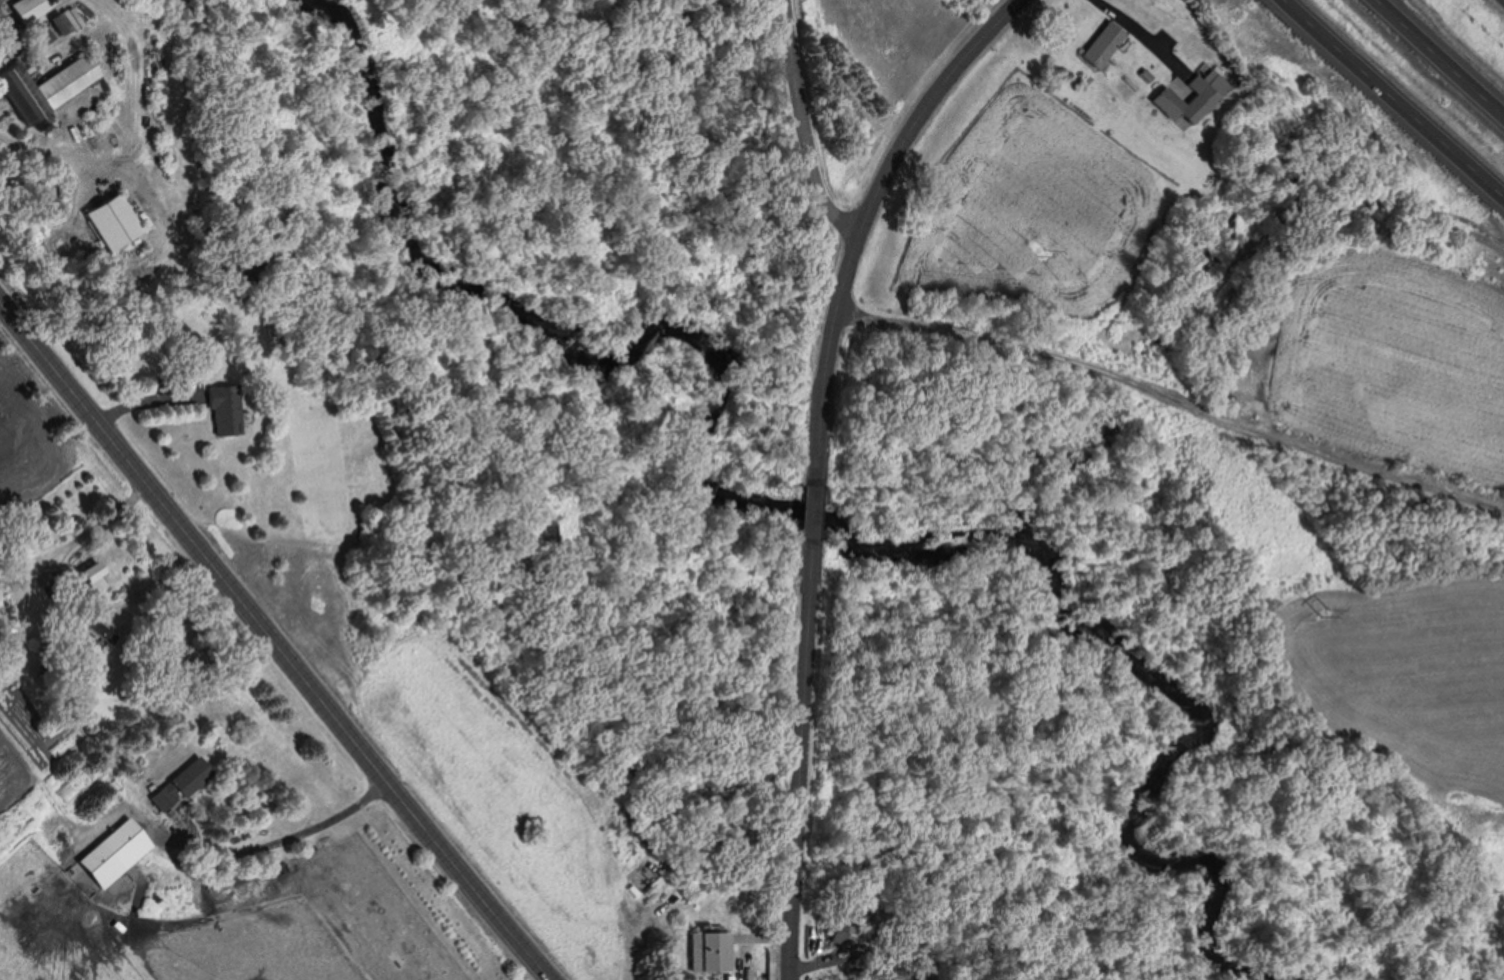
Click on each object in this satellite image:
building: (25, 11)
road: (1132, 29)
building: (1102, 45)
road: (1439, 57)
building: (42, 88)
building: (1186, 99)
road: (1387, 100)
road: (800, 126)
road: (862, 220)
building: (110, 222)
power tower: (1038, 251)
building: (221, 411)
road: (811, 514)
building: (85, 579)
power tower: (1327, 613)
building: (94, 629)
road: (275, 642)
road: (797, 760)
building: (177, 784)
building: (124, 844)
building: (836, 935)
building: (707, 953)
building: (871, 974)

